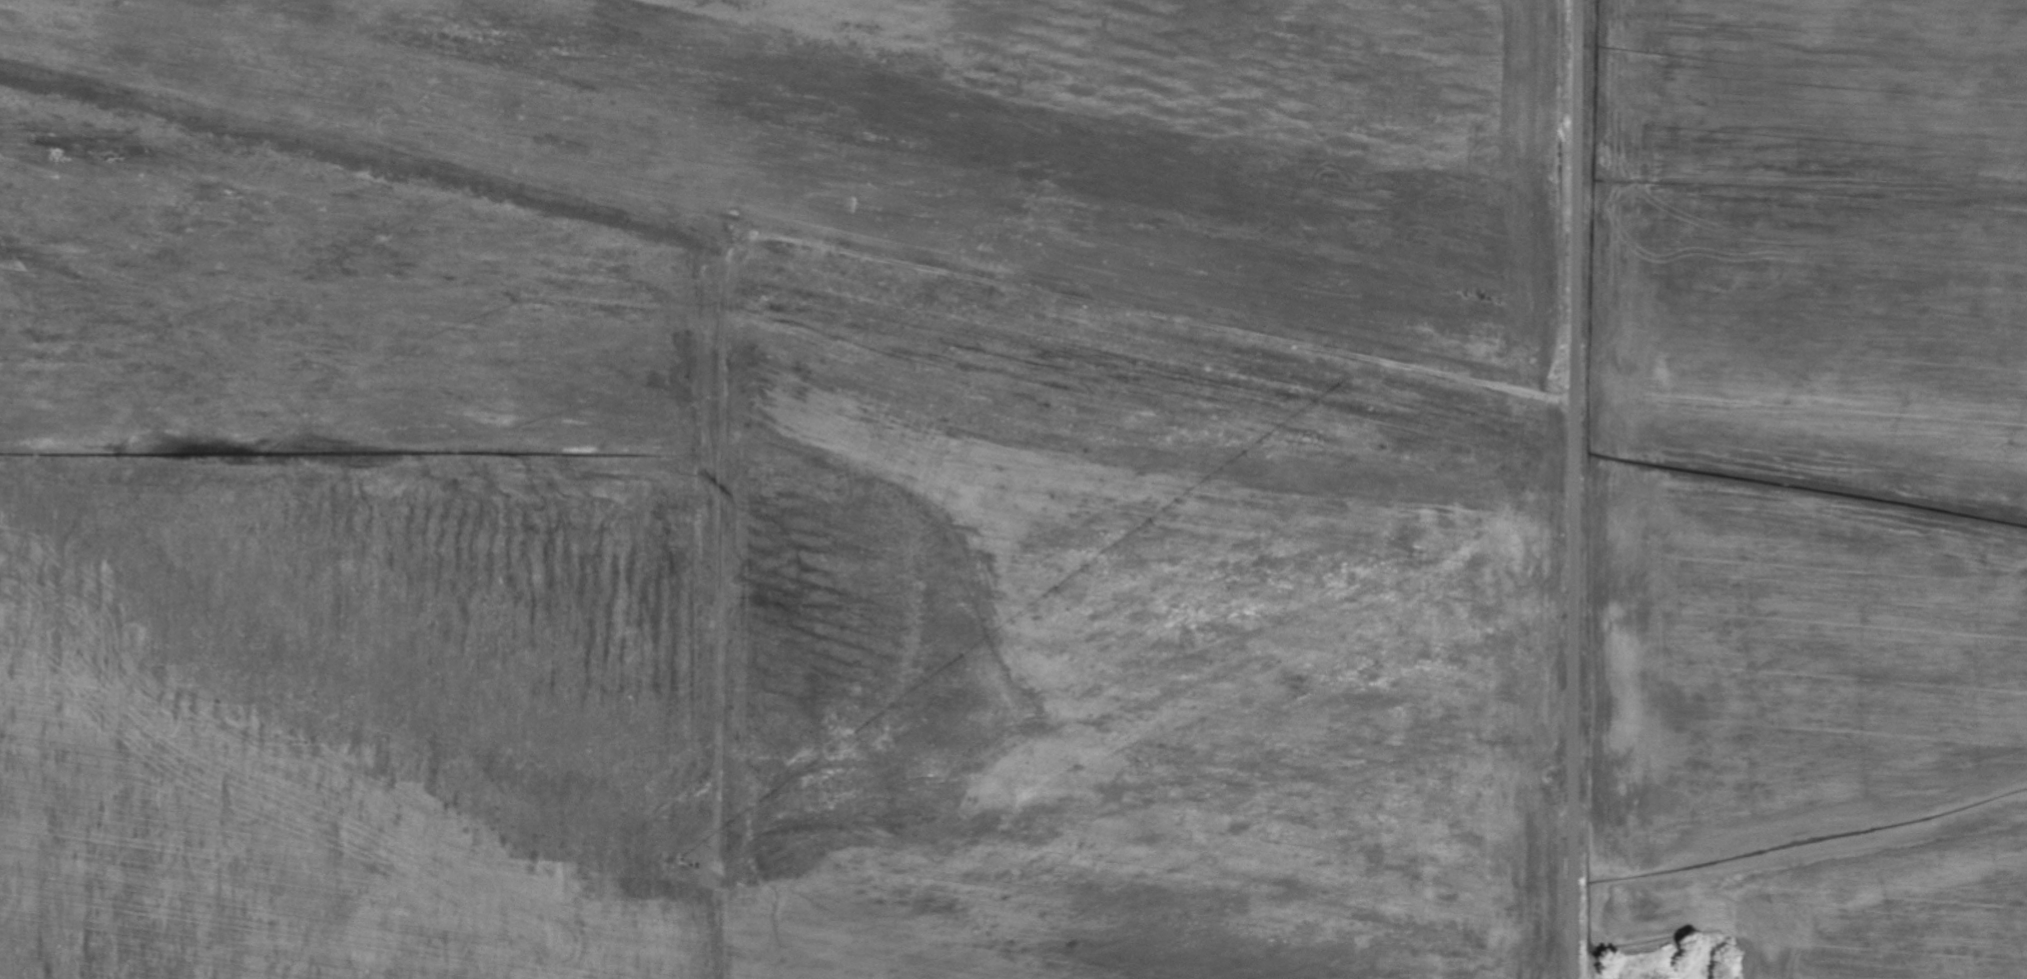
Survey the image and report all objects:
road: (1574, 489)

